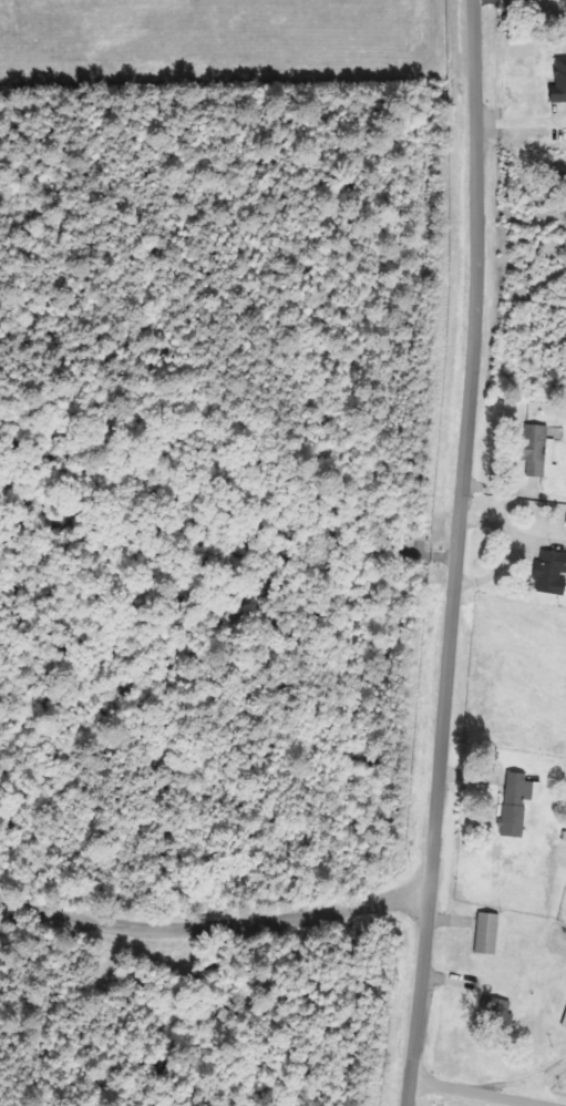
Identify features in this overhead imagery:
airport: (222, 43)
building: (558, 81)
building: (538, 452)
road: (456, 553)
building: (550, 572)
building: (516, 801)
road: (214, 932)
building: (486, 933)
building: (498, 1011)
building: (564, 1023)
road: (526, 1077)
road: (478, 1093)

